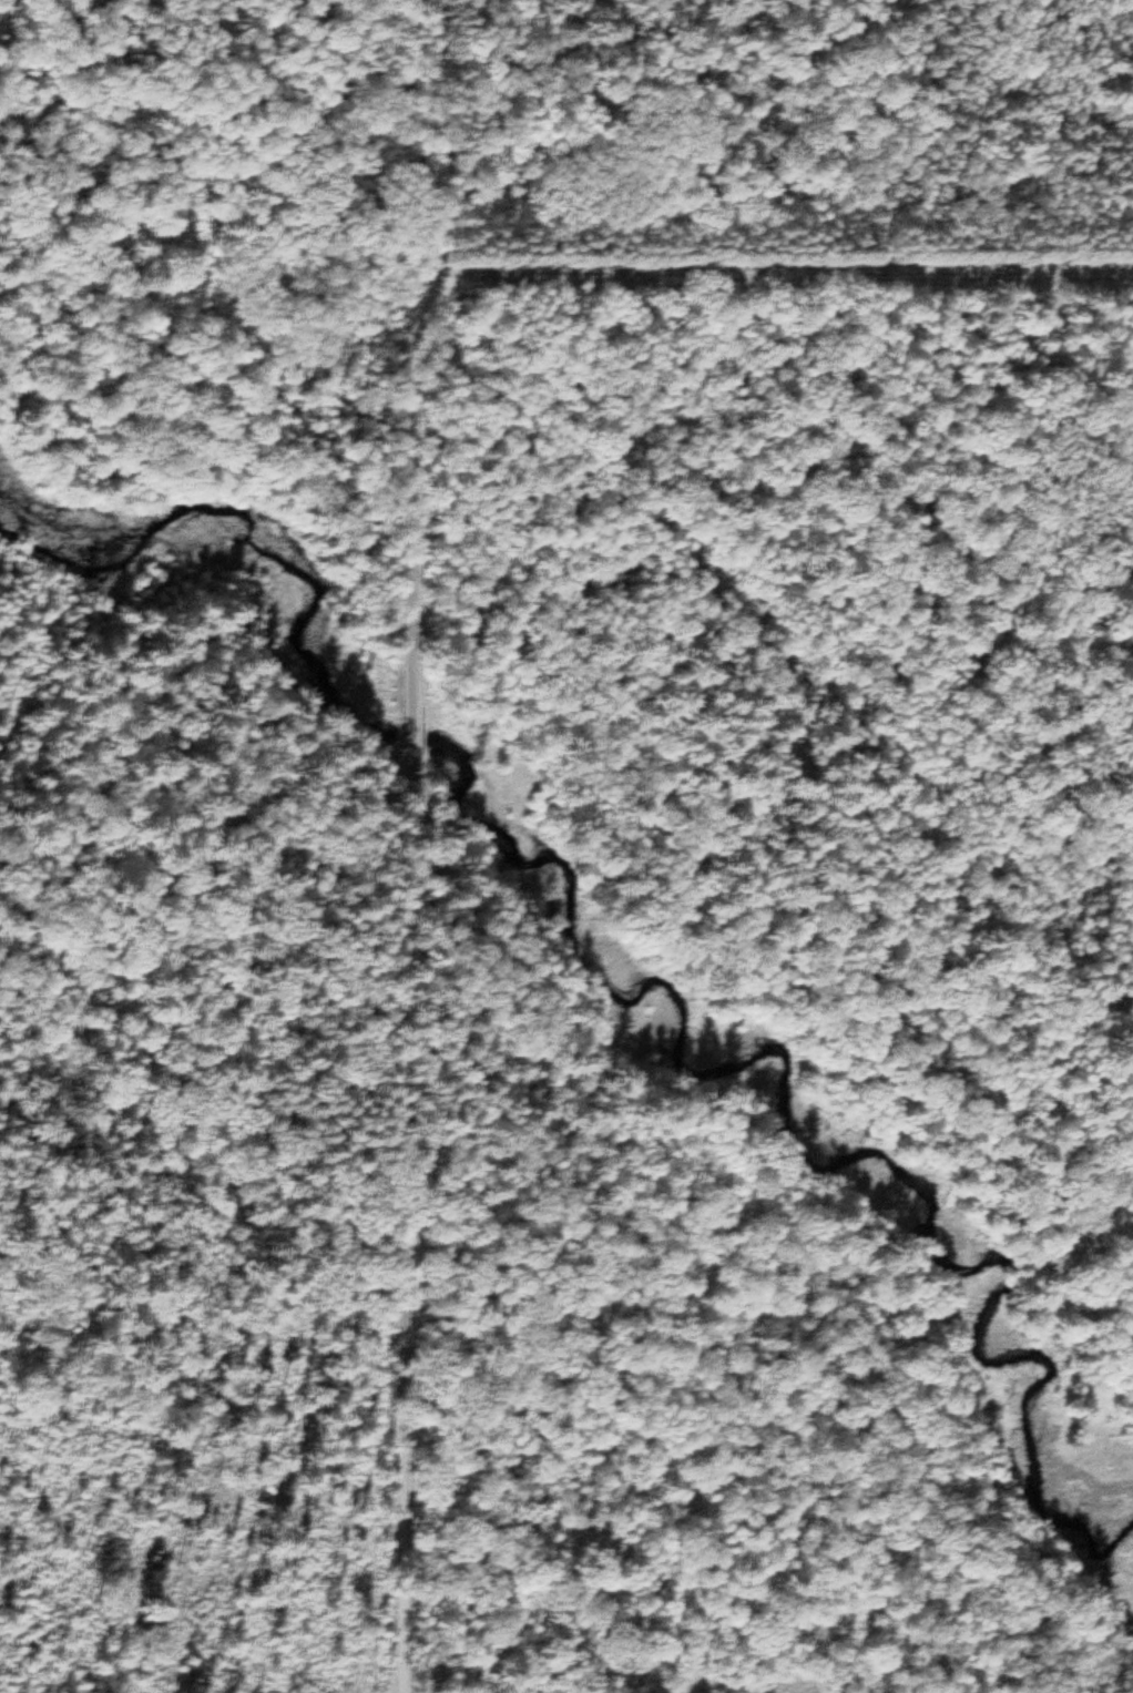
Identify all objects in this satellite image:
road: (412, 149)
road: (306, 174)
road: (572, 281)
road: (784, 670)
road: (412, 753)
river: (685, 1029)
road: (1099, 1221)
road: (408, 1248)

